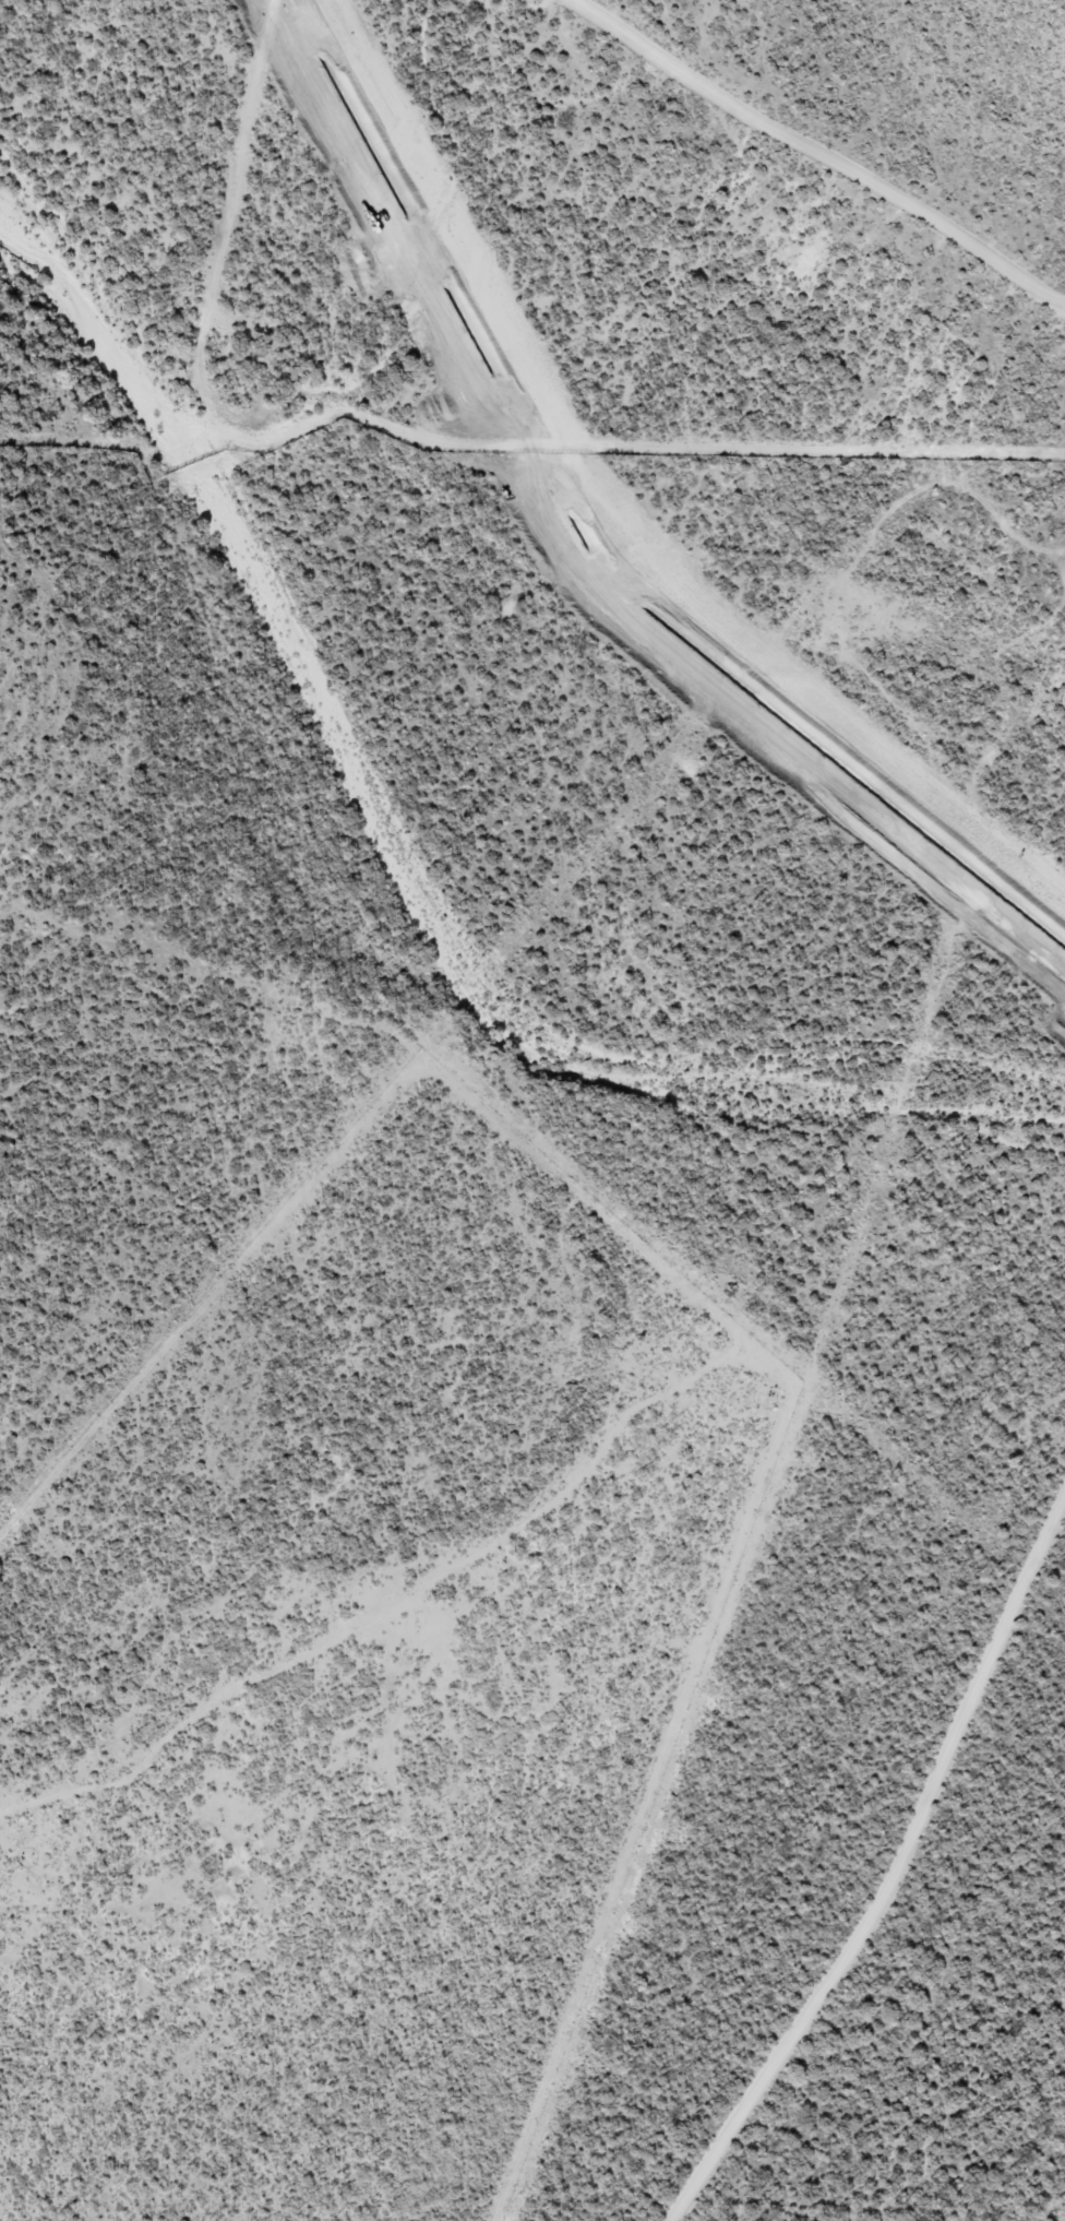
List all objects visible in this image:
road: (824, 141)
road: (897, 1880)

